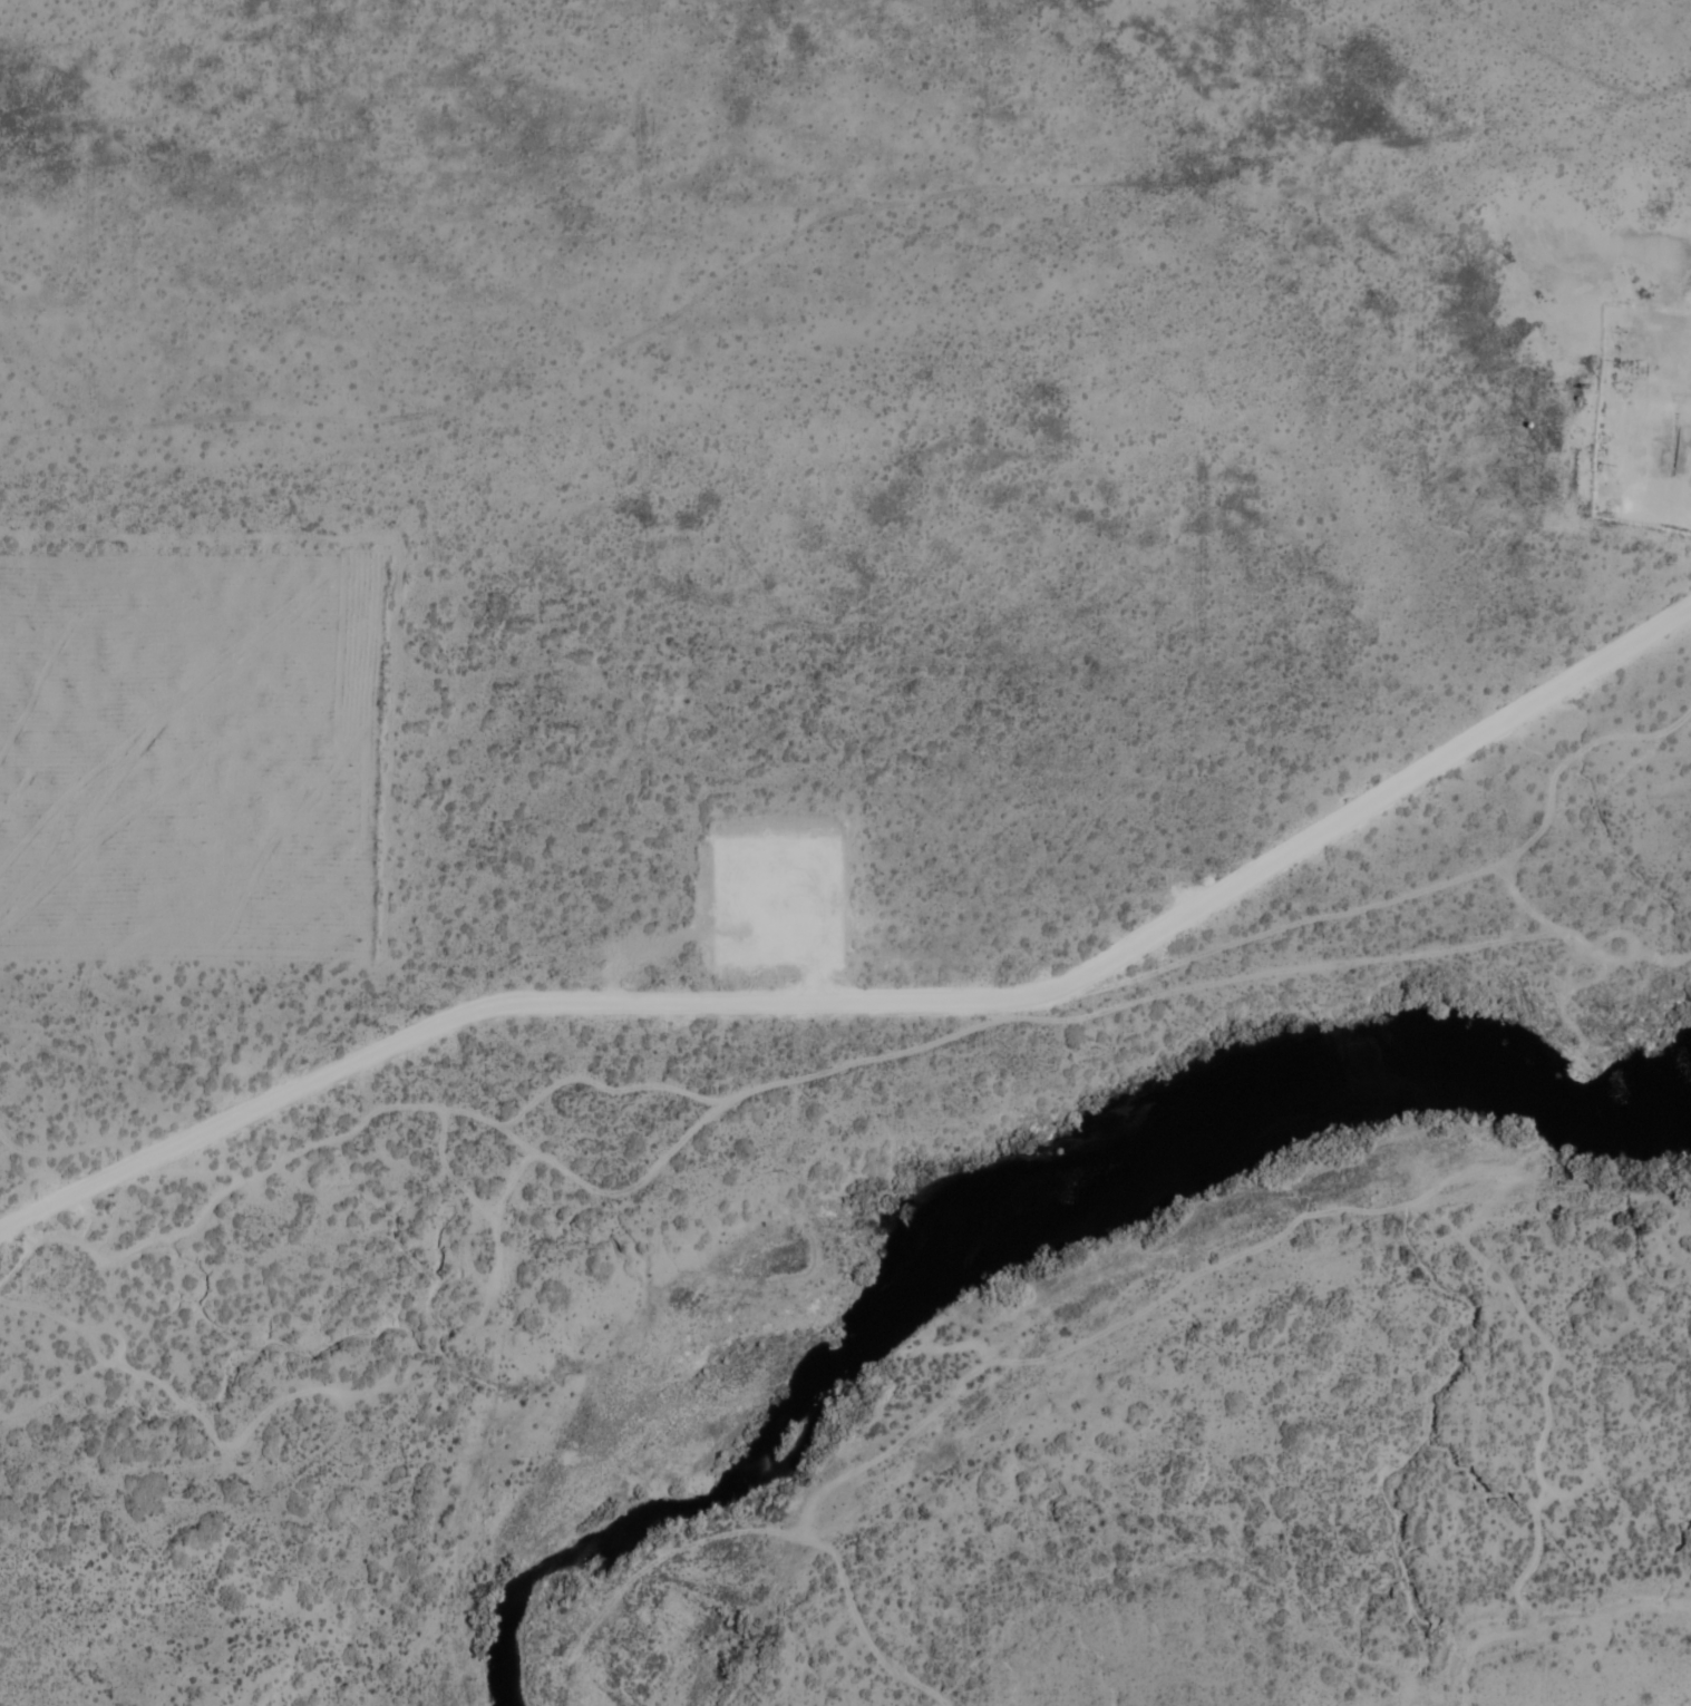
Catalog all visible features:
road: (1655, 484)
road: (754, 618)
road: (1524, 905)
road: (1349, 963)
road: (1123, 983)
road: (399, 1108)
road: (1359, 1213)
river: (992, 1222)
road: (878, 1412)
road: (766, 1536)

